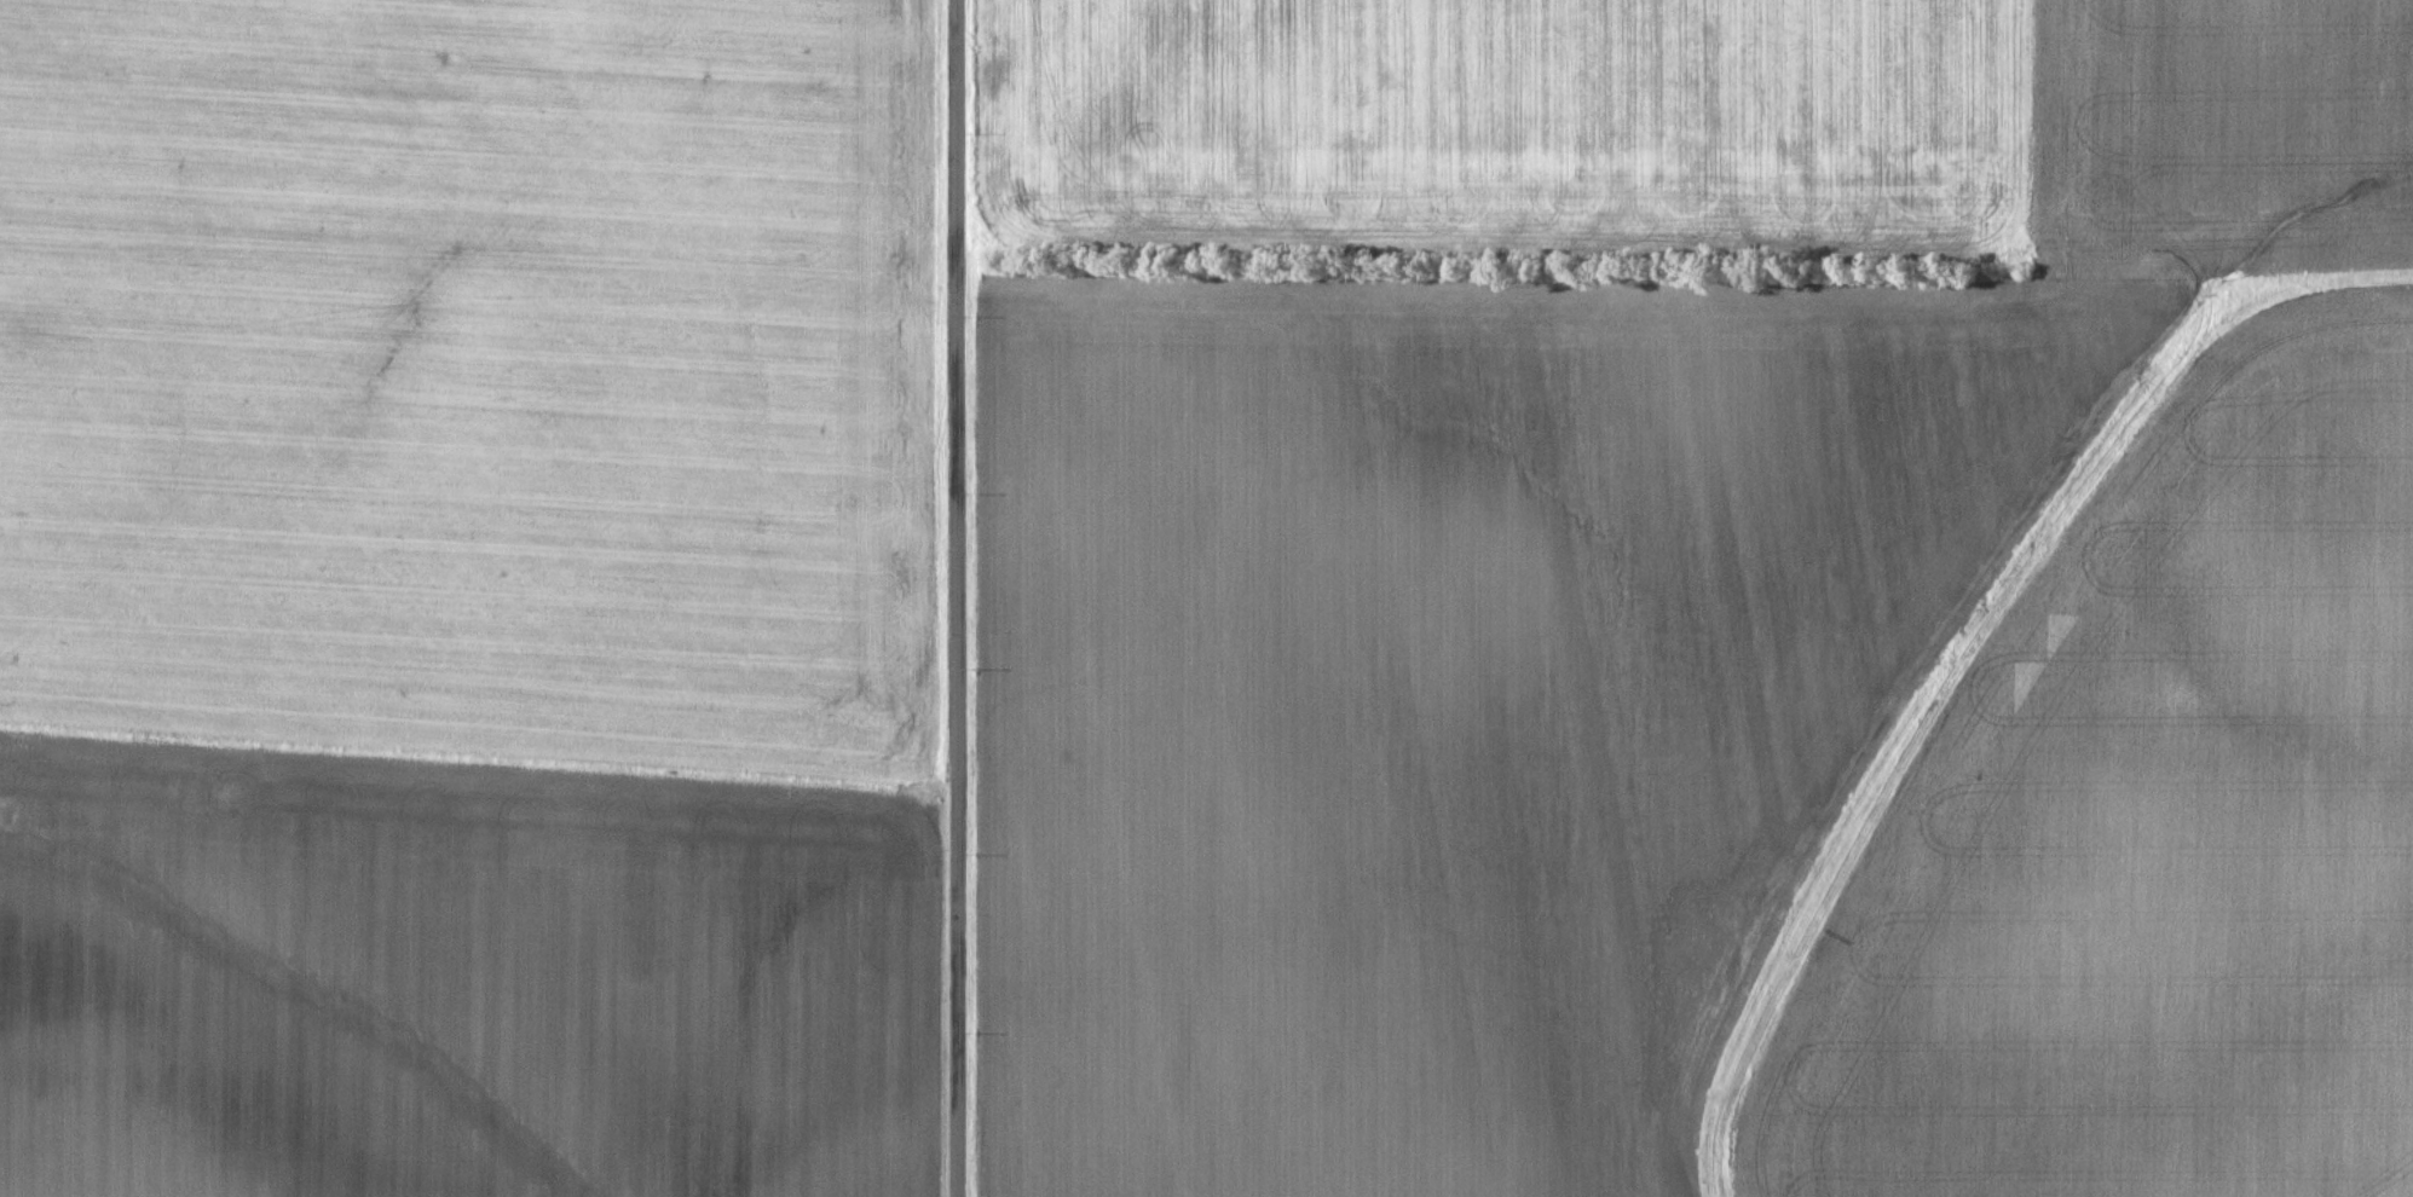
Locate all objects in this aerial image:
road: (963, 598)

